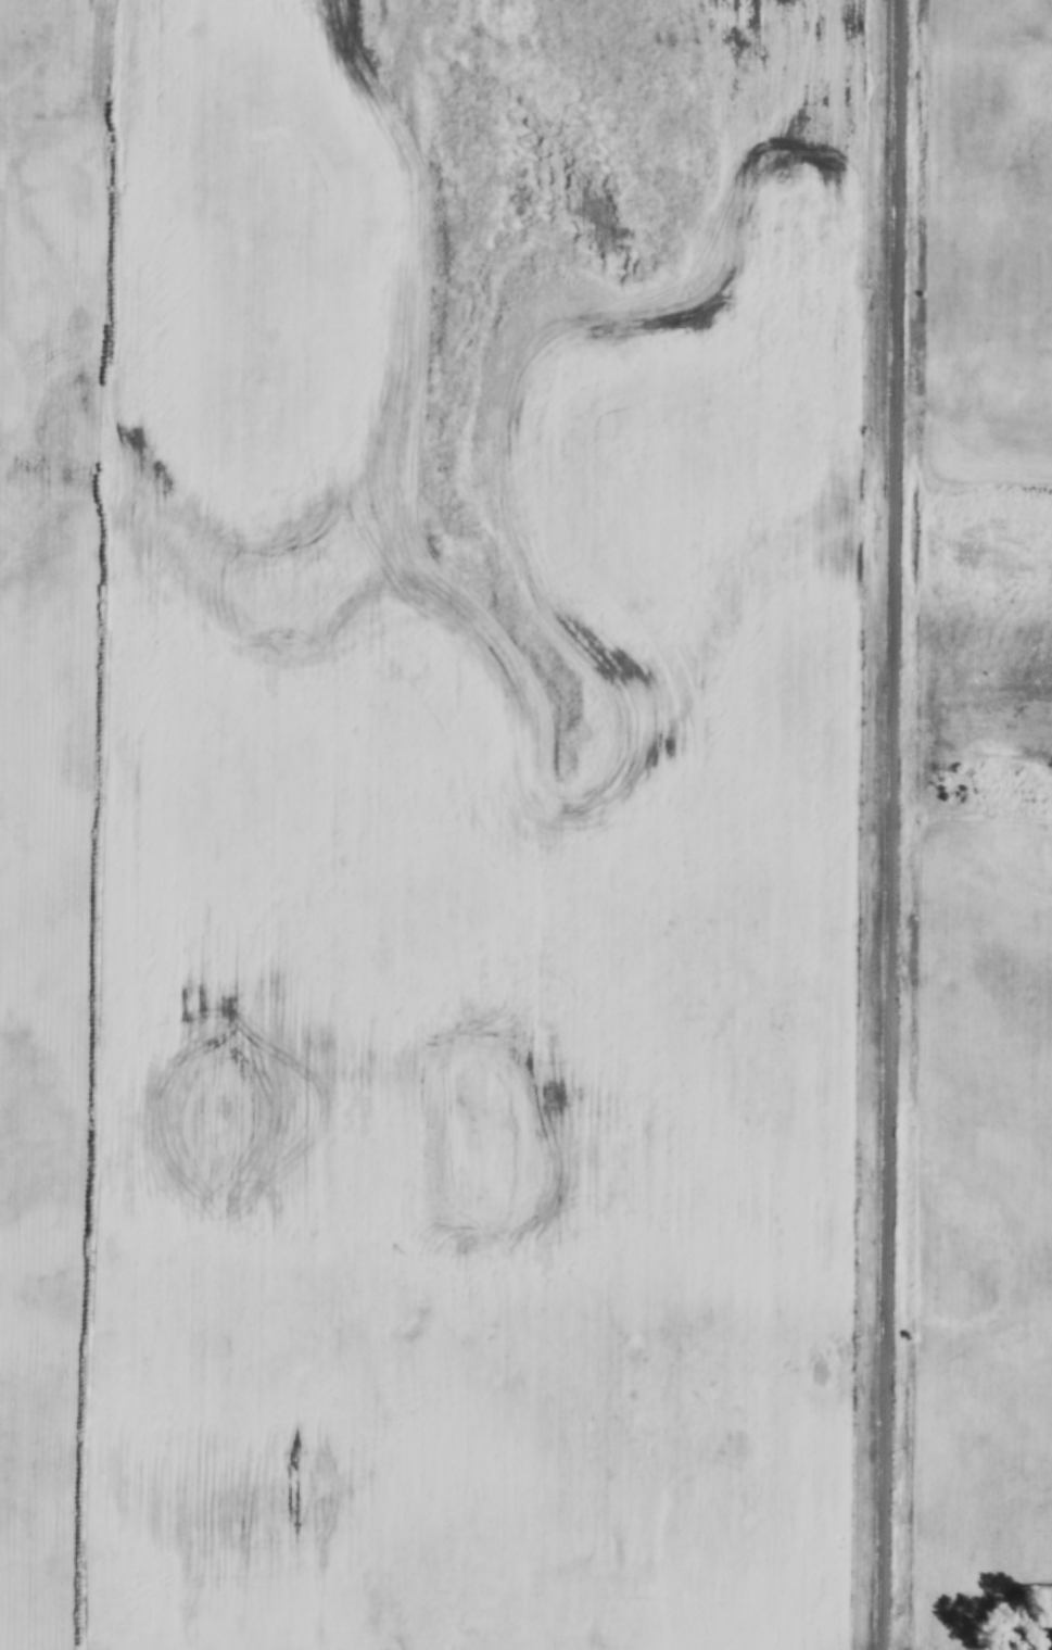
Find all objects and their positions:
road: (896, 824)

